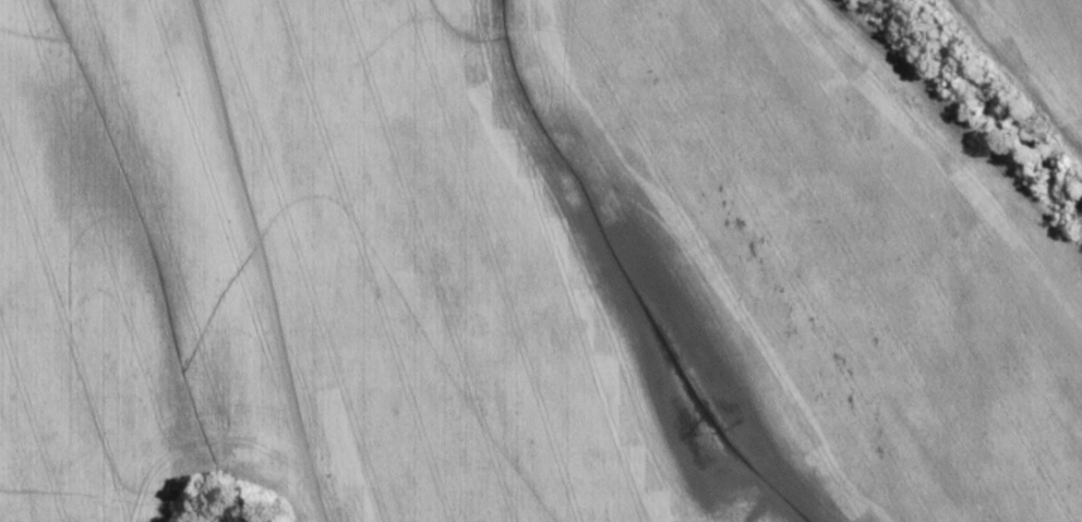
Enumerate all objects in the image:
road: (254, 263)

